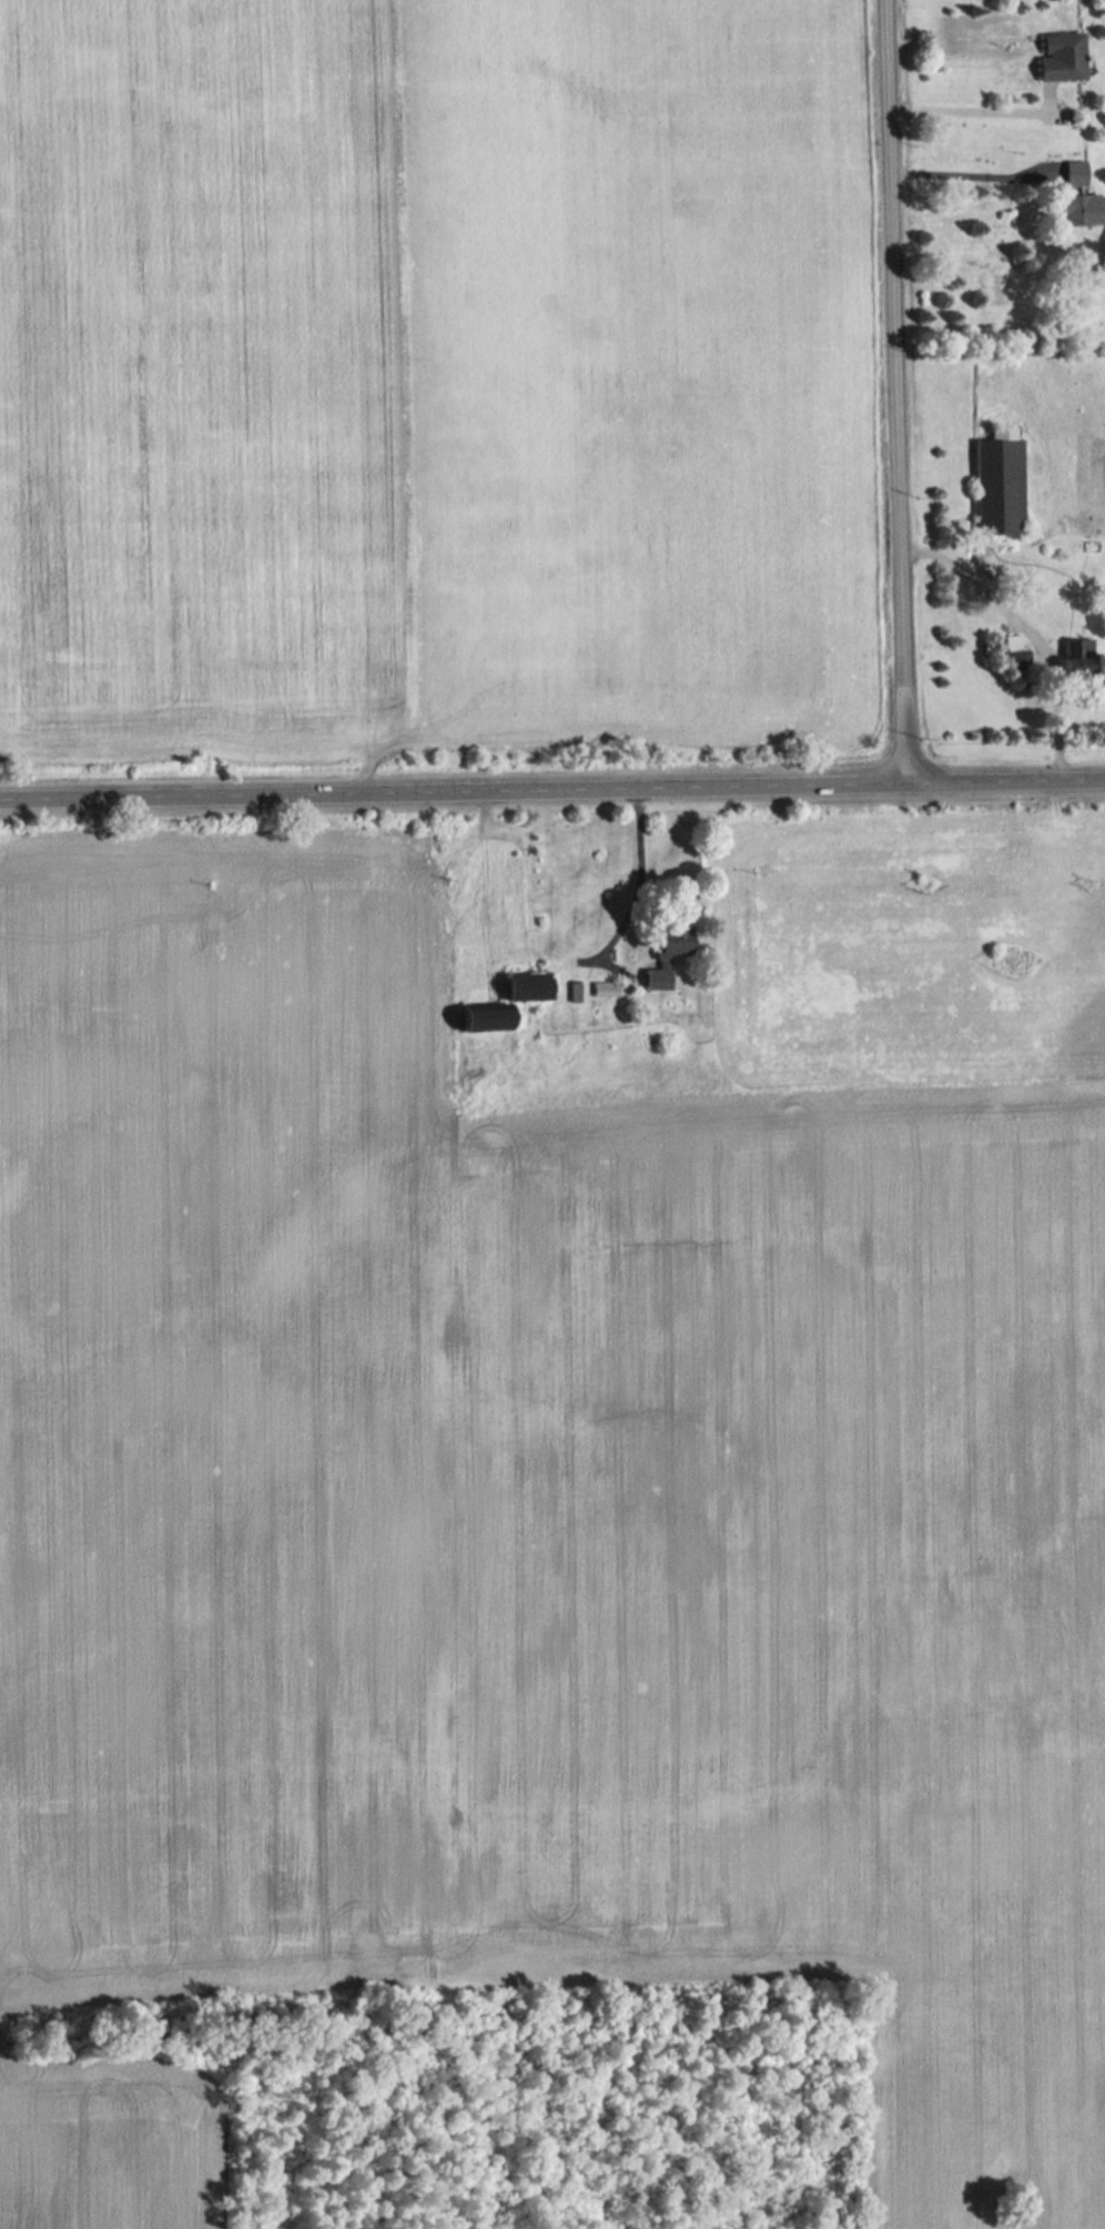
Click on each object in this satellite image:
building: (1058, 55)
road: (973, 105)
road: (973, 170)
building: (1074, 172)
building: (1082, 207)
road: (902, 393)
building: (997, 482)
road: (1036, 628)
building: (1075, 657)
road: (552, 791)
road: (638, 873)
building: (678, 942)
building: (661, 977)
building: (533, 985)
building: (608, 989)
building: (493, 1019)

